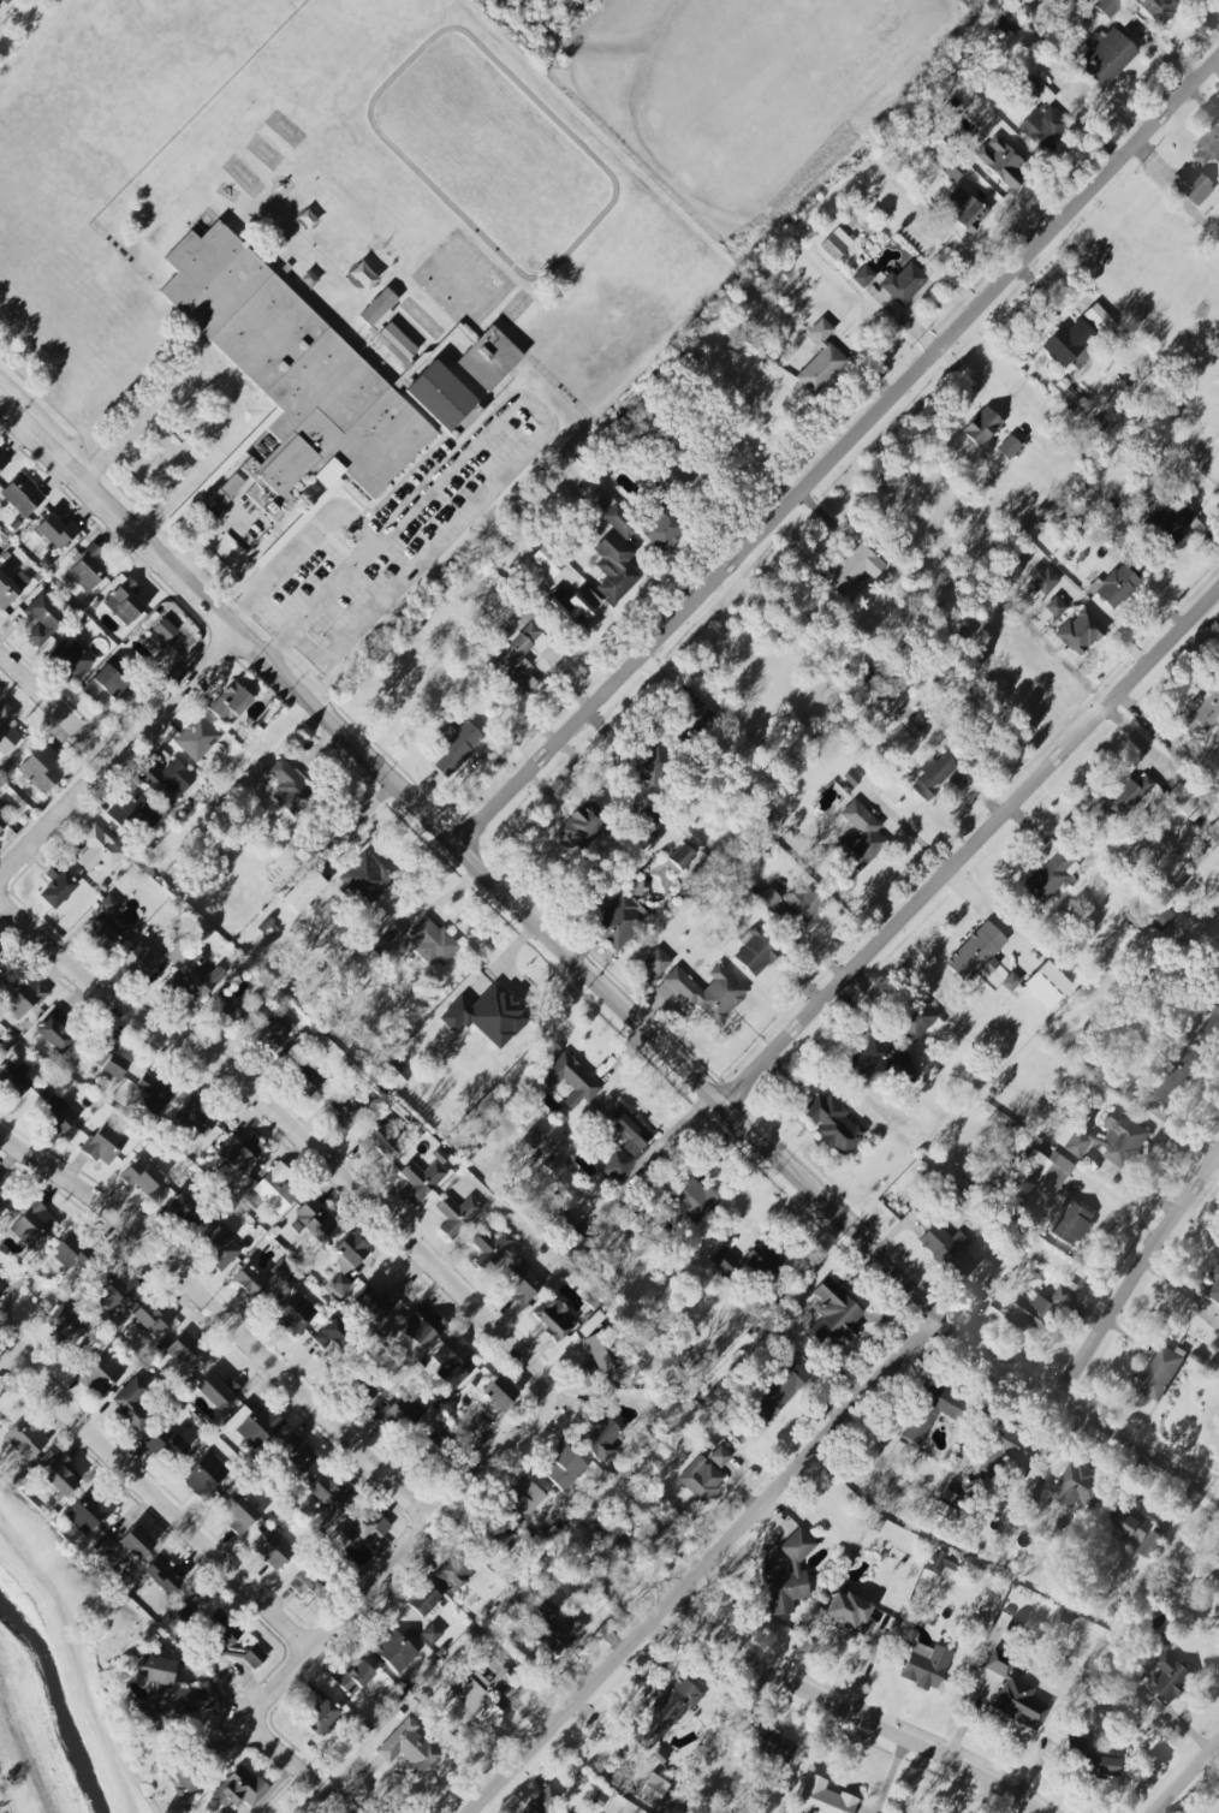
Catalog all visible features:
building: (1160, 8)
building: (1113, 10)
building: (1105, 57)
road: (1218, 67)
building: (1042, 121)
building: (1206, 148)
building: (1001, 162)
building: (1191, 186)
building: (965, 210)
building: (836, 244)
building: (862, 277)
building: (903, 284)
building: (1102, 323)
building: (386, 326)
building: (1069, 345)
building: (489, 358)
building: (820, 361)
building: (292, 376)
road: (224, 388)
building: (440, 396)
road: (521, 399)
building: (981, 427)
building: (1217, 440)
building: (1007, 447)
road: (839, 457)
building: (2, 460)
building: (228, 489)
building: (22, 495)
building: (1171, 524)
road: (313, 528)
building: (662, 528)
building: (54, 533)
road: (210, 533)
building: (616, 553)
building: (90, 569)
building: (852, 569)
building: (1041, 578)
building: (1114, 587)
building: (11, 588)
building: (124, 600)
building: (1056, 607)
building: (575, 611)
building: (43, 619)
road: (263, 620)
building: (163, 630)
building: (1080, 631)
road: (305, 648)
building: (519, 649)
building: (71, 656)
building: (106, 684)
road: (54, 703)
building: (230, 703)
building: (690, 709)
building: (1200, 714)
building: (7, 730)
building: (197, 738)
building: (456, 747)
road: (115, 750)
building: (652, 765)
building: (40, 769)
building: (936, 775)
building: (167, 780)
building: (289, 786)
building: (1181, 798)
building: (1131, 799)
building: (250, 810)
building: (135, 814)
building: (2, 820)
building: (648, 820)
road: (356, 825)
building: (579, 827)
building: (1213, 831)
building: (860, 837)
building: (97, 849)
road: (973, 855)
building: (678, 858)
building: (1049, 872)
building: (367, 878)
building: (57, 886)
building: (304, 891)
building: (768, 898)
building: (802, 903)
building: (109, 905)
building: (619, 921)
building: (103, 938)
building: (387, 941)
building: (433, 941)
building: (0, 947)
building: (172, 951)
building: (756, 951)
building: (976, 953)
building: (138, 961)
building: (656, 961)
road: (588, 974)
building: (197, 977)
building: (1047, 985)
building: (703, 992)
building: (22, 995)
building: (222, 1014)
building: (487, 1016)
building: (916, 1020)
building: (55, 1032)
building: (272, 1035)
building: (109, 1058)
building: (881, 1063)
building: (304, 1077)
building: (386, 1077)
building: (1178, 1078)
building: (13, 1080)
building: (570, 1081)
building: (154, 1093)
building: (346, 1111)
building: (57, 1113)
building: (191, 1118)
building: (831, 1123)
road: (292, 1129)
building: (533, 1137)
building: (1108, 1140)
building: (380, 1141)
building: (105, 1142)
building: (625, 1145)
building: (239, 1153)
building: (1046, 1171)
building: (141, 1176)
building: (421, 1179)
building: (4, 1196)
building: (692, 1197)
building: (457, 1214)
building: (314, 1220)
building: (1071, 1223)
building: (31, 1224)
building: (565, 1235)
building: (219, 1248)
building: (490, 1248)
building: (949, 1250)
building: (72, 1254)
building: (346, 1261)
building: (748, 1264)
building: (281, 1270)
road: (1141, 1274)
building: (248, 1280)
building: (519, 1280)
building: (1214, 1286)
building: (114, 1288)
building: (0, 1292)
building: (371, 1303)
building: (1041, 1307)
building: (293, 1314)
building: (834, 1315)
building: (151, 1318)
building: (553, 1318)
road: (220, 1319)
building: (65, 1325)
building: (418, 1331)
building: (333, 1335)
building: (600, 1344)
building: (186, 1353)
building: (453, 1361)
building: (1159, 1373)
building: (101, 1374)
building: (359, 1384)
building: (216, 1391)
building: (774, 1391)
building: (499, 1392)
building: (131, 1403)
building: (397, 1410)
building: (929, 1410)
building: (478, 1421)
building: (254, 1425)
building: (601, 1438)
building: (24, 1439)
building: (166, 1444)
building: (432, 1450)
building: (296, 1452)
building: (719, 1456)
building: (563, 1467)
building: (58, 1474)
building: (204, 1475)
building: (700, 1478)
building: (1069, 1487)
building: (325, 1493)
building: (522, 1497)
road: (155, 1499)
building: (535, 1510)
building: (88, 1511)
building: (238, 1514)
road: (421, 1524)
building: (363, 1528)
building: (1141, 1532)
building: (136, 1541)
building: (272, 1549)
building: (107, 1552)
building: (939, 1561)
road: (702, 1563)
building: (454, 1571)
building: (1215, 1573)
building: (162, 1575)
building: (787, 1575)
building: (308, 1581)
building: (423, 1598)
building: (849, 1612)
building: (545, 1613)
building: (565, 1631)
building: (220, 1633)
building: (430, 1634)
building: (393, 1651)
building: (254, 1657)
road: (76, 1664)
building: (923, 1666)
building: (352, 1677)
building: (1171, 1677)
building: (167, 1687)
building: (480, 1690)
building: (1015, 1693)
building: (320, 1712)
road: (842, 1714)
building: (662, 1716)
road: (261, 1735)
building: (772, 1744)
building: (408, 1748)
road: (1187, 1778)
building: (184, 1781)
building: (240, 1789)
building: (652, 1790)
road: (281, 1793)
building: (821, 1797)
building: (545, 1799)
building: (525, 1811)
building: (218, 1812)
building: (561, 1812)

